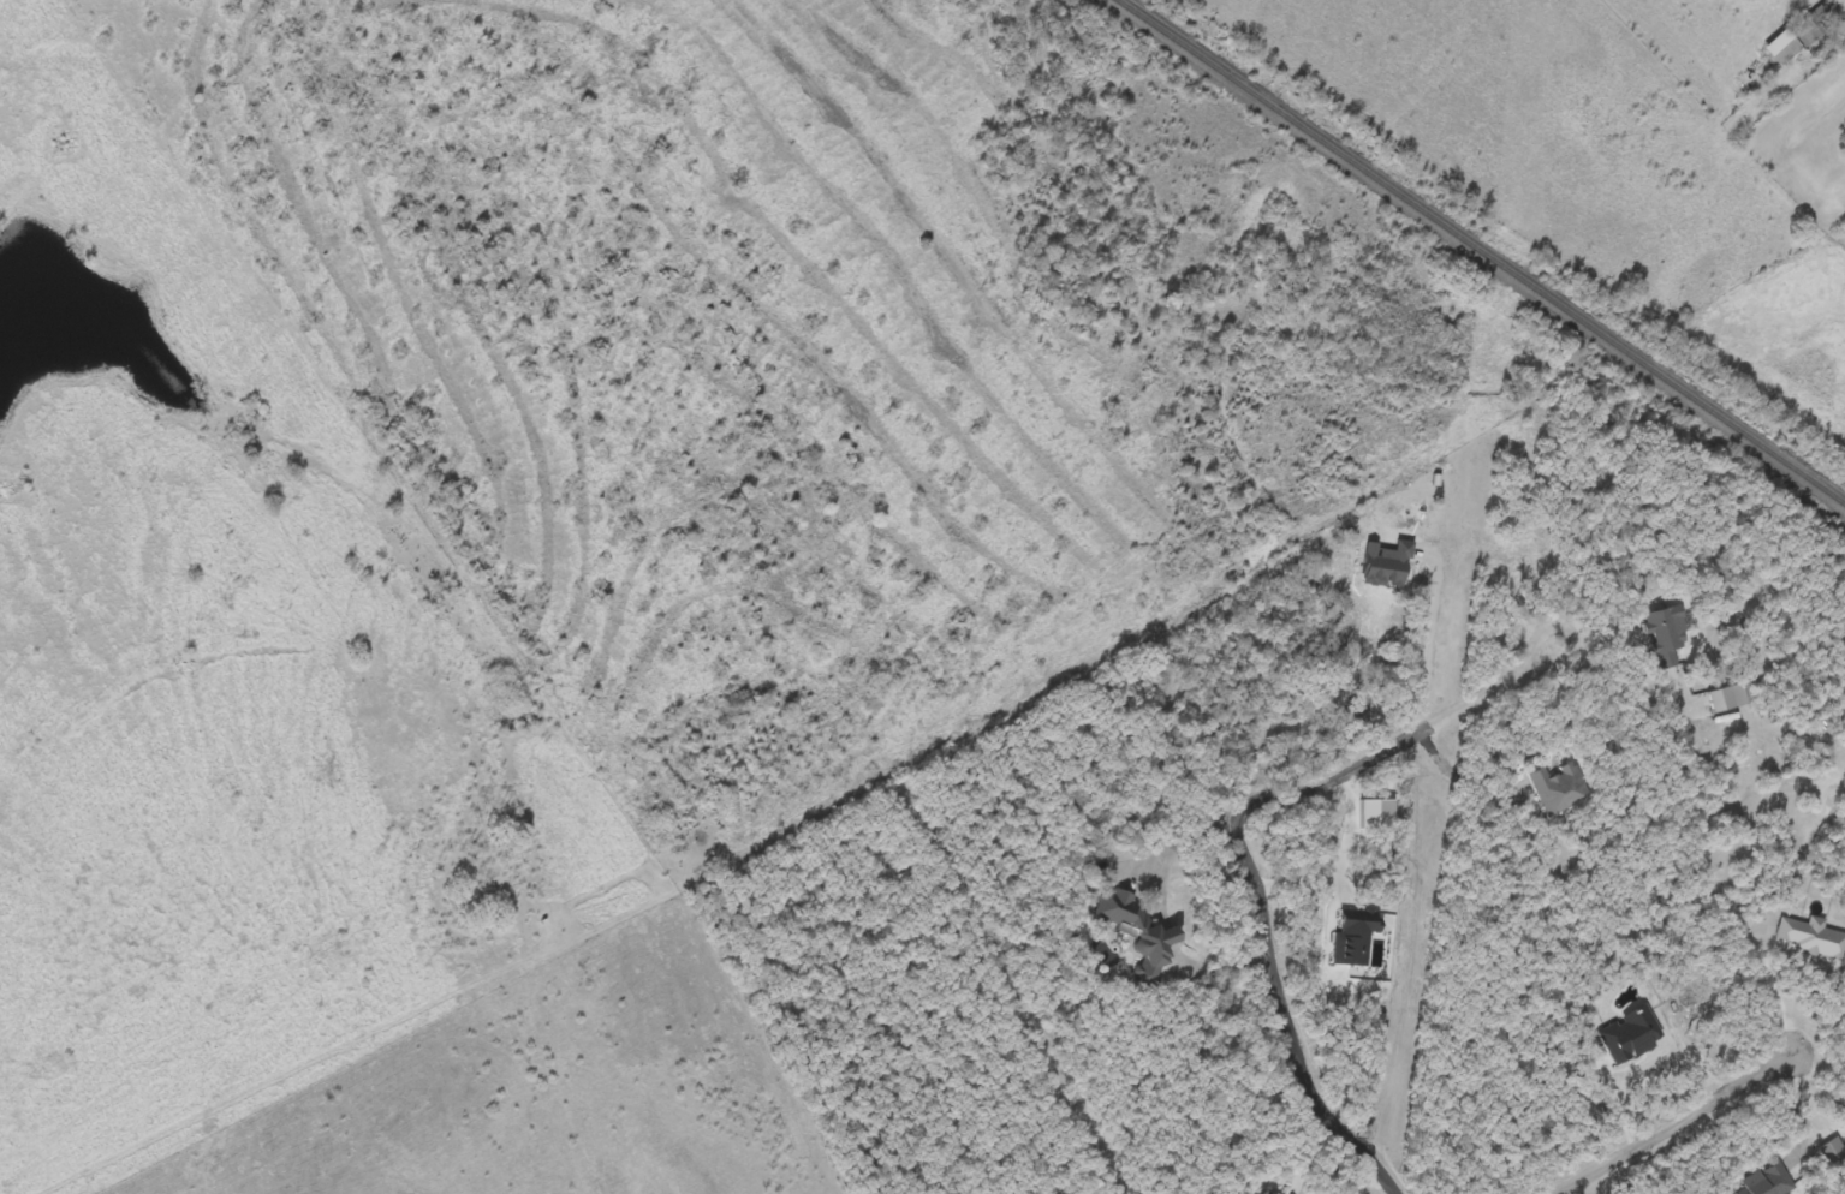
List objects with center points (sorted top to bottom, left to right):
building: (1798, 37)
railway: (1477, 251)
building: (1388, 565)
building: (1668, 634)
building: (1730, 699)
road: (1401, 744)
building: (1561, 789)
building: (1379, 816)
building: (1141, 933)
building: (1813, 937)
road: (1288, 1019)
building: (1639, 1035)
road: (1677, 1124)
building: (1834, 1152)
building: (1769, 1181)

